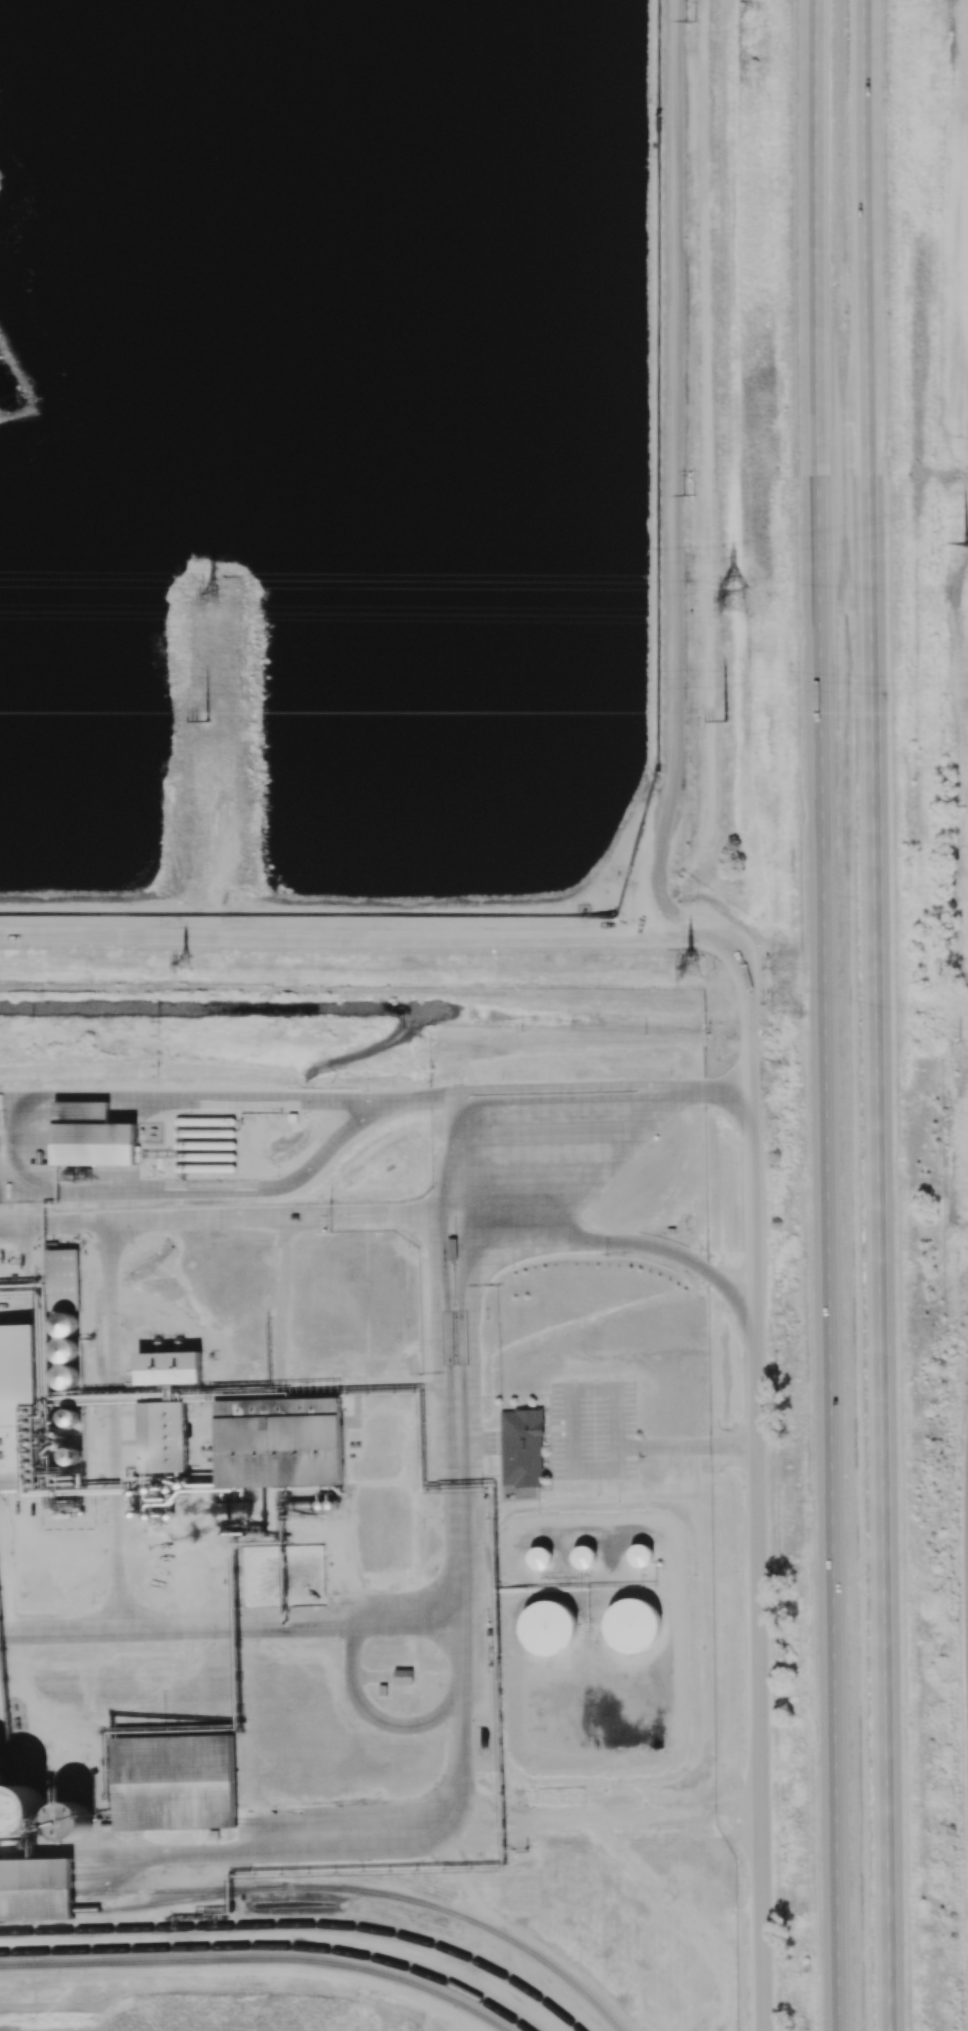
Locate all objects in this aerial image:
power tower: (693, 21)
power tower: (691, 496)
power tower: (967, 542)
power tower: (210, 599)
power tower: (731, 605)
power tower: (726, 722)
power tower: (211, 724)
road: (375, 939)
power tower: (175, 965)
power tower: (685, 973)
road: (824, 1015)
road: (879, 1015)
road: (632, 1139)
road: (571, 1237)
building: (66, 1324)
storage tank: (66, 1324)
building: (67, 1350)
storage tank: (67, 1350)
building: (167, 1370)
building: (67, 1376)
storage tank: (67, 1376)
building: (18, 1411)
building: (162, 1440)
road: (687, 1444)
building: (279, 1445)
road: (573, 1467)
road: (757, 1501)
building: (584, 1555)
building: (641, 1555)
building: (539, 1557)
building: (632, 1624)
building: (548, 1626)
road: (354, 1671)
building: (403, 1675)
building: (382, 1690)
building: (174, 1782)
building: (21, 1809)
road: (440, 1815)
building: (73, 1820)
building: (36, 1888)
railway: (330, 1891)
railway: (128, 1908)
railway: (302, 1925)
railway: (273, 1947)
railway: (259, 1961)

